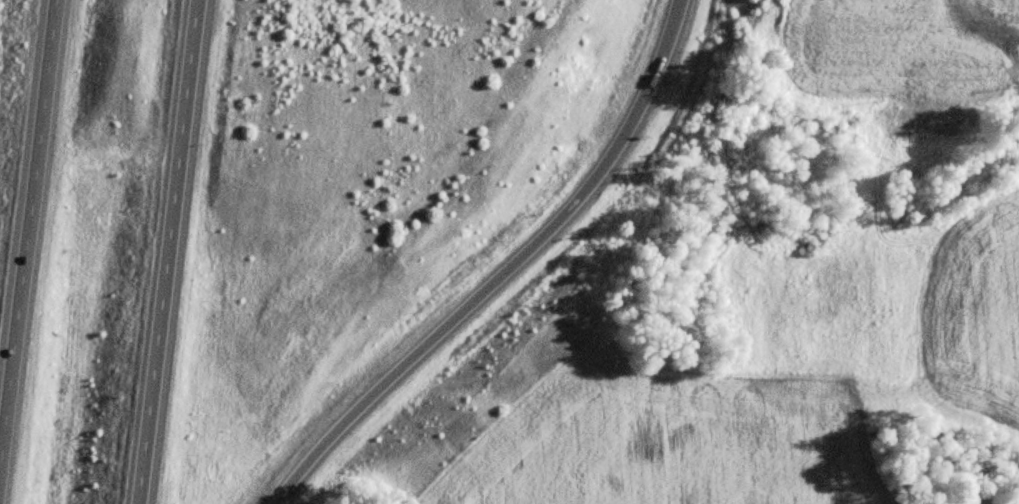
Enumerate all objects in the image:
road: (26, 227)
road: (166, 252)
road: (500, 270)

